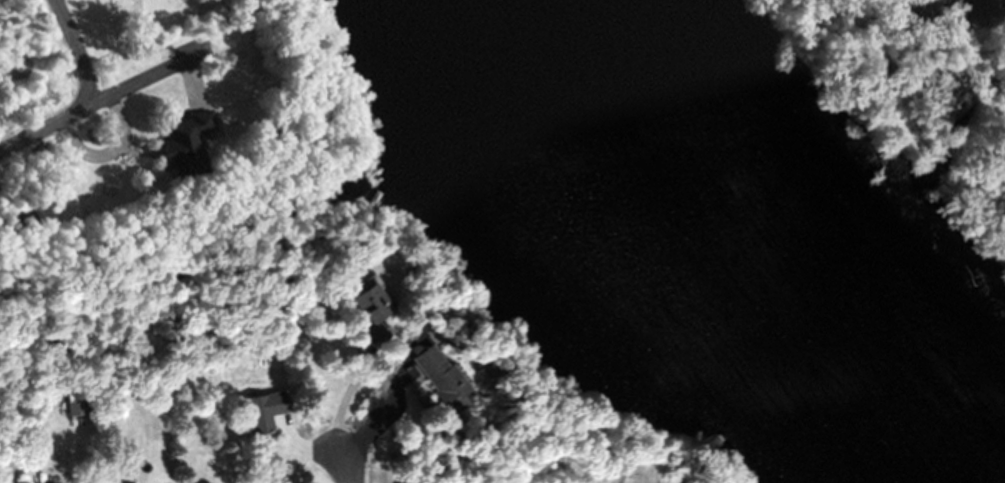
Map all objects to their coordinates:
road: (77, 50)
road: (149, 72)
building: (180, 143)
river: (694, 249)
building: (362, 303)
building: (427, 373)
road: (341, 396)
building: (257, 413)
road: (345, 469)

